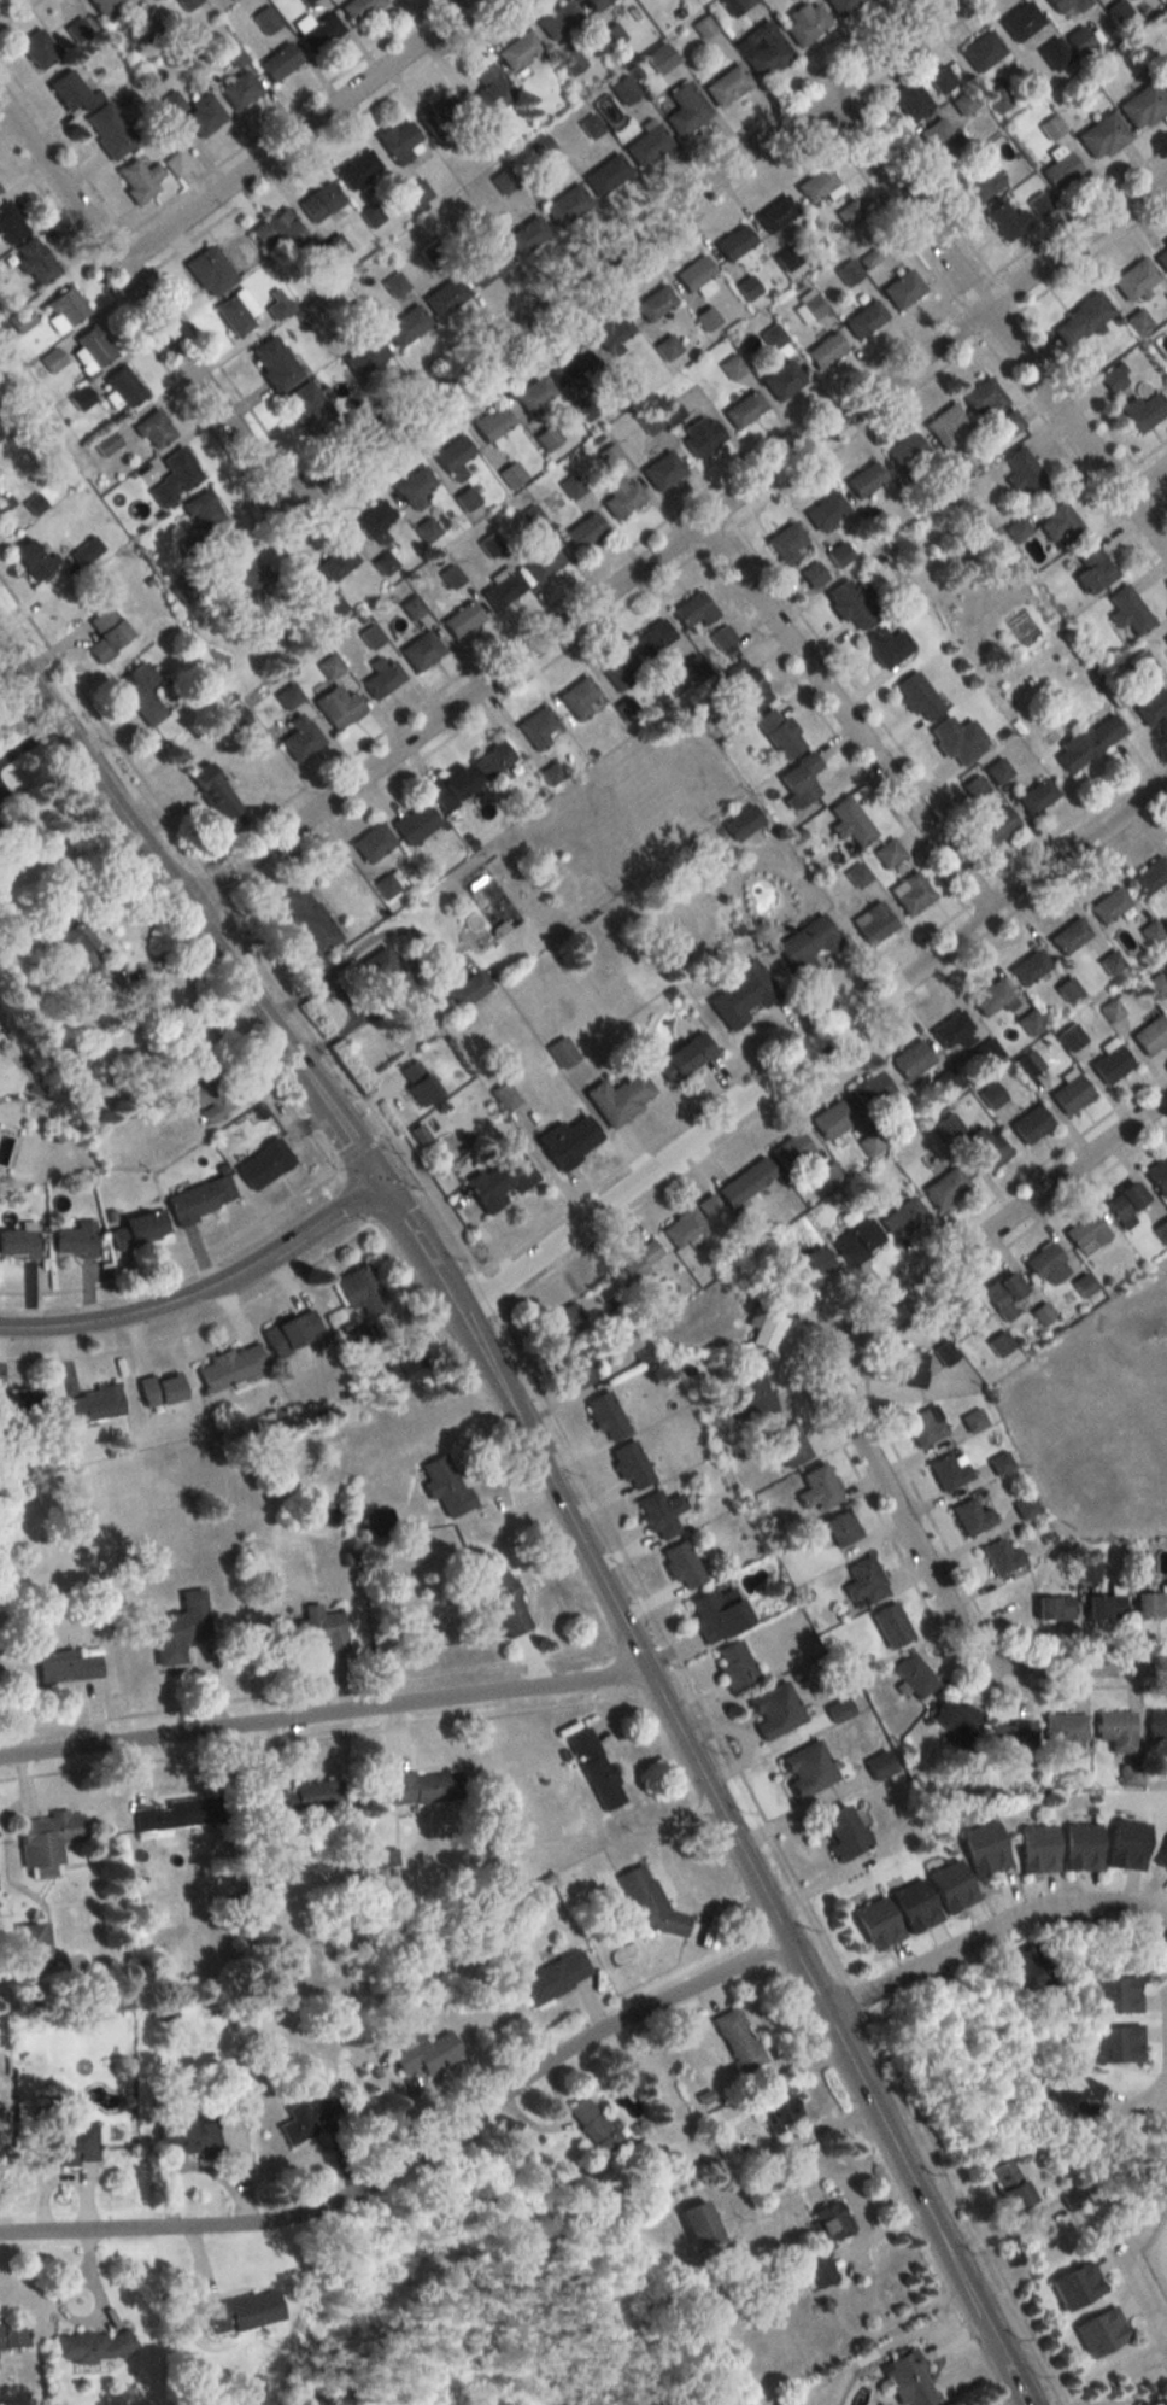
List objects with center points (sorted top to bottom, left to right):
road: (0, 0)
building: (305, 0)
building: (594, 2)
building: (743, 2)
building: (101, 4)
building: (187, 4)
building: (1067, 4)
building: (843, 6)
building: (359, 8)
building: (558, 18)
building: (265, 19)
building: (1020, 21)
building: (804, 24)
building: (317, 31)
building: (611, 34)
building: (1078, 40)
building: (37, 48)
building: (517, 49)
building: (762, 49)
building: (980, 49)
building: (1054, 53)
building: (659, 58)
building: (570, 60)
building: (277, 62)
building: (1162, 76)
building: (940, 78)
building: (726, 86)
building: (237, 89)
building: (623, 89)
building: (72, 90)
building: (488, 94)
building: (997, 99)
building: (909, 100)
building: (963, 103)
building: (1142, 106)
building: (685, 109)
building: (203, 115)
building: (440, 116)
building: (1050, 127)
building: (109, 130)
road: (300, 134)
building: (1101, 136)
building: (937, 137)
building: (399, 140)
building: (645, 145)
building: (175, 164)
building: (1057, 165)
building: (357, 169)
building: (605, 174)
building: (137, 180)
building: (815, 183)
building: (979, 183)
building: (417, 192)
building: (318, 200)
building: (567, 205)
building: (774, 213)
building: (848, 213)
building: (1007, 221)
building: (8, 224)
building: (275, 230)
building: (526, 236)
building: (733, 242)
road: (615, 248)
building: (786, 257)
building: (1162, 257)
building: (34, 261)
building: (486, 265)
building: (209, 270)
building: (848, 271)
building: (693, 274)
building: (1133, 280)
building: (902, 288)
road: (140, 295)
building: (445, 295)
building: (652, 303)
building: (810, 303)
building: (65, 306)
building: (233, 315)
road: (996, 316)
building: (705, 318)
building: (863, 318)
building: (1080, 318)
building: (405, 324)
building: (611, 332)
building: (665, 347)
building: (92, 349)
building: (823, 350)
building: (364, 356)
building: (272, 362)
building: (570, 365)
building: (732, 367)
building: (1114, 378)
building: (781, 380)
building: (121, 387)
building: (983, 396)
building: (533, 398)
building: (306, 405)
building: (743, 409)
building: (1145, 412)
building: (492, 423)
building: (944, 423)
building: (153, 429)
building: (700, 435)
building: (546, 438)
building: (904, 450)
building: (453, 457)
building: (661, 470)
building: (511, 475)
building: (175, 476)
building: (863, 479)
road: (1148, 479)
building: (414, 487)
building: (621, 496)
building: (465, 499)
building: (2, 502)
building: (201, 510)
building: (825, 510)
building: (374, 521)
building: (1057, 523)
building: (583, 531)
road: (682, 542)
building: (785, 543)
building: (86, 550)
building: (838, 554)
building: (29, 557)
building: (541, 561)
building: (336, 562)
building: (1092, 568)
building: (813, 574)
building: (253, 578)
building: (500, 587)
building: (849, 602)
building: (332, 604)
building: (692, 609)
building: (1127, 610)
building: (461, 619)
building: (106, 633)
building: (1165, 636)
building: (721, 637)
building: (650, 638)
building: (885, 645)
building: (420, 650)
building: (1144, 665)
building: (329, 667)
building: (692, 667)
building: (618, 668)
building: (381, 679)
building: (745, 686)
building: (139, 692)
building: (916, 696)
building: (577, 698)
building: (338, 707)
building: (1151, 707)
building: (627, 708)
road: (845, 721)
building: (538, 726)
building: (778, 733)
building: (299, 737)
building: (956, 739)
building: (1086, 742)
building: (491, 760)
building: (997, 771)
building: (799, 779)
building: (448, 788)
building: (213, 791)
building: (1036, 796)
building: (415, 823)
building: (849, 823)
building: (741, 824)
building: (996, 825)
building: (0, 826)
building: (373, 843)
building: (887, 853)
road: (194, 855)
building: (857, 874)
building: (1149, 876)
building: (387, 885)
building: (910, 893)
building: (1108, 906)
building: (309, 918)
building: (873, 923)
building: (1068, 935)
building: (74, 938)
building: (810, 948)
building: (1110, 964)
building: (1028, 966)
building: (386, 969)
building: (1156, 987)
building: (1067, 989)
building: (468, 990)
building: (741, 995)
building: (993, 997)
building: (1112, 1010)
building: (1030, 1022)
building: (950, 1028)
building: (1150, 1035)
building: (1071, 1036)
road: (816, 1044)
building: (987, 1052)
building: (684, 1058)
building: (910, 1059)
building: (1028, 1064)
building: (1110, 1064)
building: (948, 1081)
building: (417, 1084)
building: (870, 1089)
building: (206, 1092)
building: (991, 1094)
building: (1069, 1095)
building: (620, 1098)
building: (829, 1119)
building: (1030, 1124)
building: (568, 1142)
building: (986, 1147)
road: (357, 1148)
building: (790, 1151)
building: (263, 1164)
building: (1157, 1174)
building: (499, 1181)
building: (744, 1181)
traffic signals: (381, 1183)
building: (945, 1188)
building: (200, 1198)
building: (1124, 1205)
building: (708, 1206)
building: (903, 1219)
road: (999, 1223)
building: (682, 1227)
building: (136, 1228)
building: (1161, 1231)
building: (1086, 1234)
building: (72, 1241)
building: (857, 1242)
building: (17, 1245)
building: (637, 1262)
road: (177, 1264)
building: (1046, 1265)
building: (809, 1269)
building: (360, 1291)
road: (203, 1292)
building: (1003, 1294)
building: (1043, 1313)
building: (963, 1321)
building: (766, 1322)
building: (563, 1323)
road: (198, 1326)
building: (291, 1333)
building: (999, 1342)
building: (945, 1352)
building: (229, 1367)
building: (575, 1368)
building: (910, 1369)
building: (159, 1389)
building: (755, 1389)
building: (92, 1404)
building: (23, 1405)
building: (605, 1416)
building: (973, 1420)
building: (923, 1427)
building: (788, 1445)
building: (999, 1463)
building: (631, 1465)
building: (949, 1470)
building: (445, 1486)
building: (819, 1490)
road: (561, 1494)
building: (1025, 1508)
building: (661, 1514)
building: (970, 1517)
building: (840, 1528)
building: (1001, 1557)
building: (682, 1566)
building: (864, 1581)
road: (940, 1597)
building: (503, 1599)
building: (1150, 1604)
building: (1104, 1607)
building: (1052, 1608)
building: (717, 1613)
building: (891, 1625)
building: (180, 1628)
building: (311, 1629)
building: (734, 1664)
building: (66, 1667)
building: (913, 1675)
building: (774, 1709)
building: (838, 1709)
road: (326, 1711)
building: (952, 1720)
building: (1156, 1725)
building: (1115, 1731)
building: (1065, 1733)
building: (1009, 1743)
building: (878, 1765)
building: (596, 1768)
building: (807, 1768)
building: (423, 1787)
building: (291, 1804)
building: (177, 1814)
building: (840, 1833)
building: (46, 1838)
building: (1125, 1844)
building: (1079, 1845)
building: (1036, 1848)
building: (983, 1849)
building: (1161, 1857)
building: (386, 1862)
building: (950, 1886)
building: (913, 1904)
building: (647, 1906)
road: (1002, 1921)
building: (875, 1923)
building: (33, 1947)
building: (1025, 1970)
building: (552, 1977)
building: (1114, 1994)
building: (737, 2040)
building: (1115, 2043)
building: (424, 2053)
building: (1074, 2091)
road: (1159, 2106)
building: (778, 2113)
building: (306, 2117)
building: (591, 2124)
building: (187, 2138)
building: (66, 2144)
road: (416, 2153)
building: (1007, 2183)
building: (1072, 2199)
building: (828, 2219)
building: (696, 2222)
road: (1028, 2229)
road: (1138, 2283)
building: (1075, 2286)
building: (235, 2311)
building: (1099, 2331)
building: (12, 2336)
building: (90, 2345)
park: (504, 2378)
building: (908, 2380)

